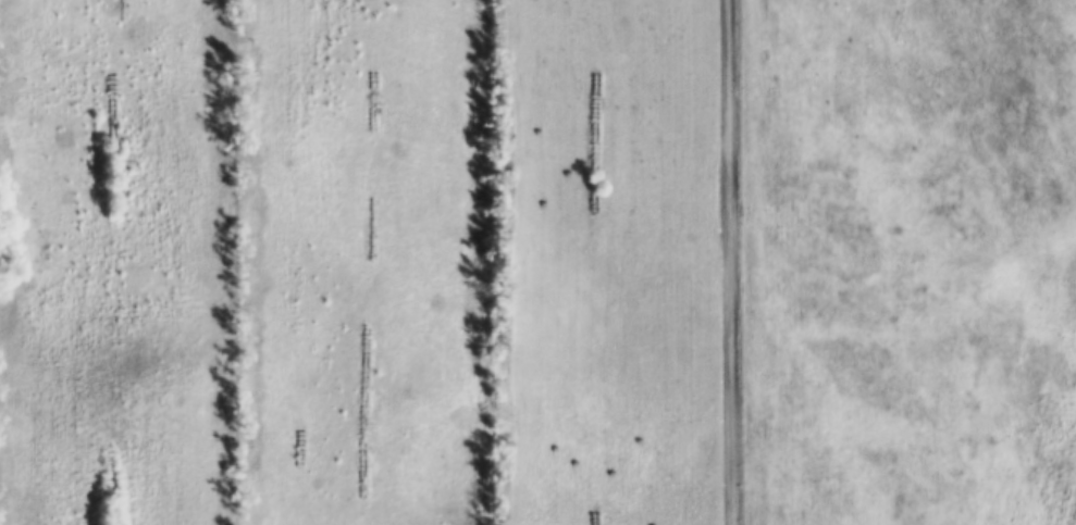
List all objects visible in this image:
road: (727, 262)

